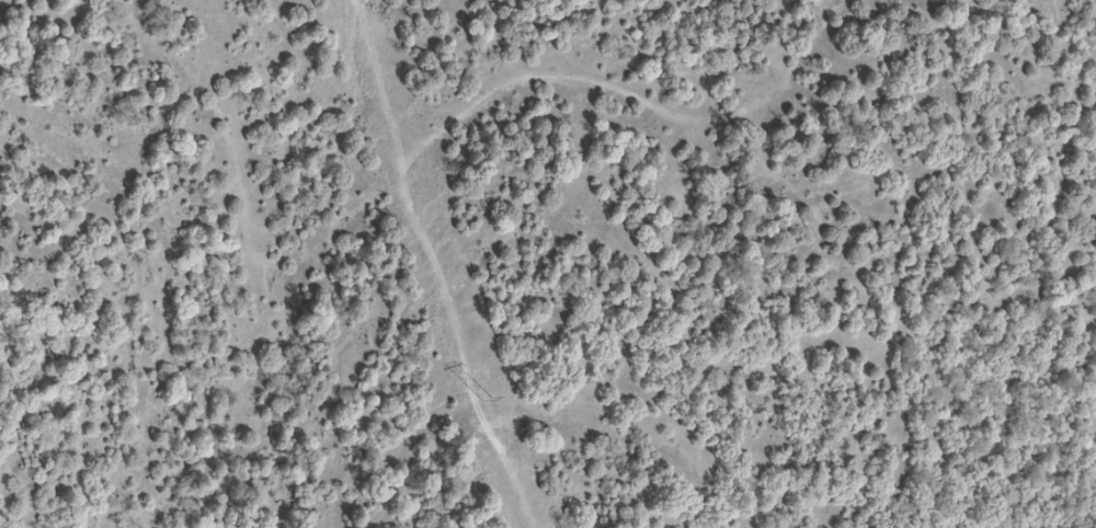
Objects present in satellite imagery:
power tower: (482, 399)

